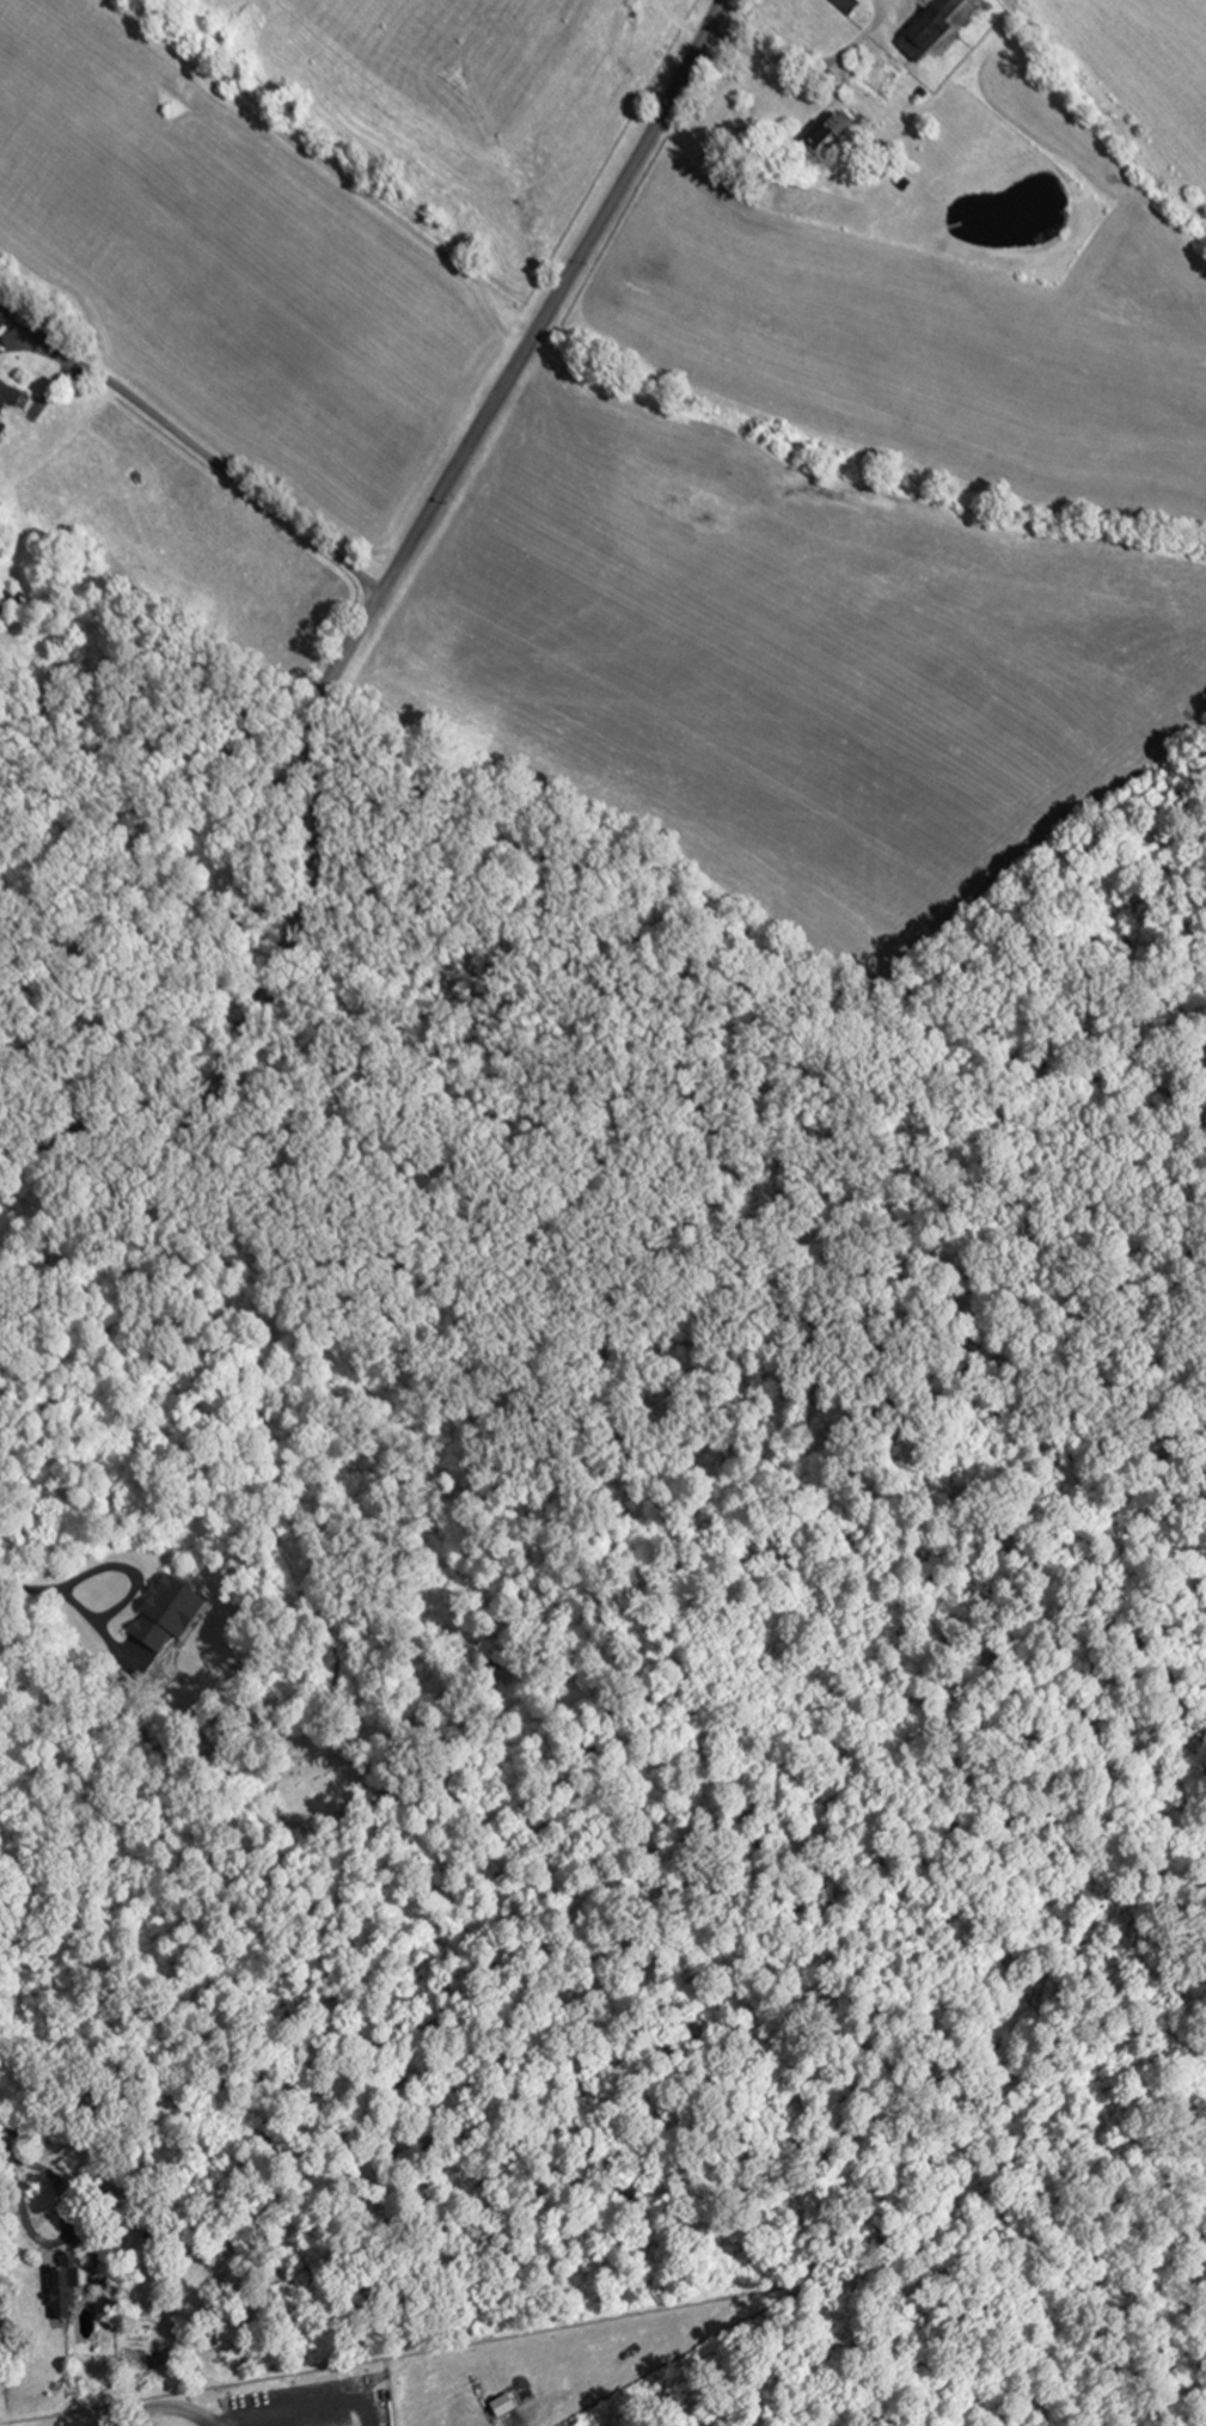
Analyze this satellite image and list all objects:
building: (856, 7)
road: (729, 41)
road: (835, 51)
building: (845, 135)
building: (8, 312)
building: (13, 395)
road: (204, 470)
road: (330, 673)
road: (29, 1588)
road: (130, 1589)
road: (60, 2235)
building: (71, 2293)

